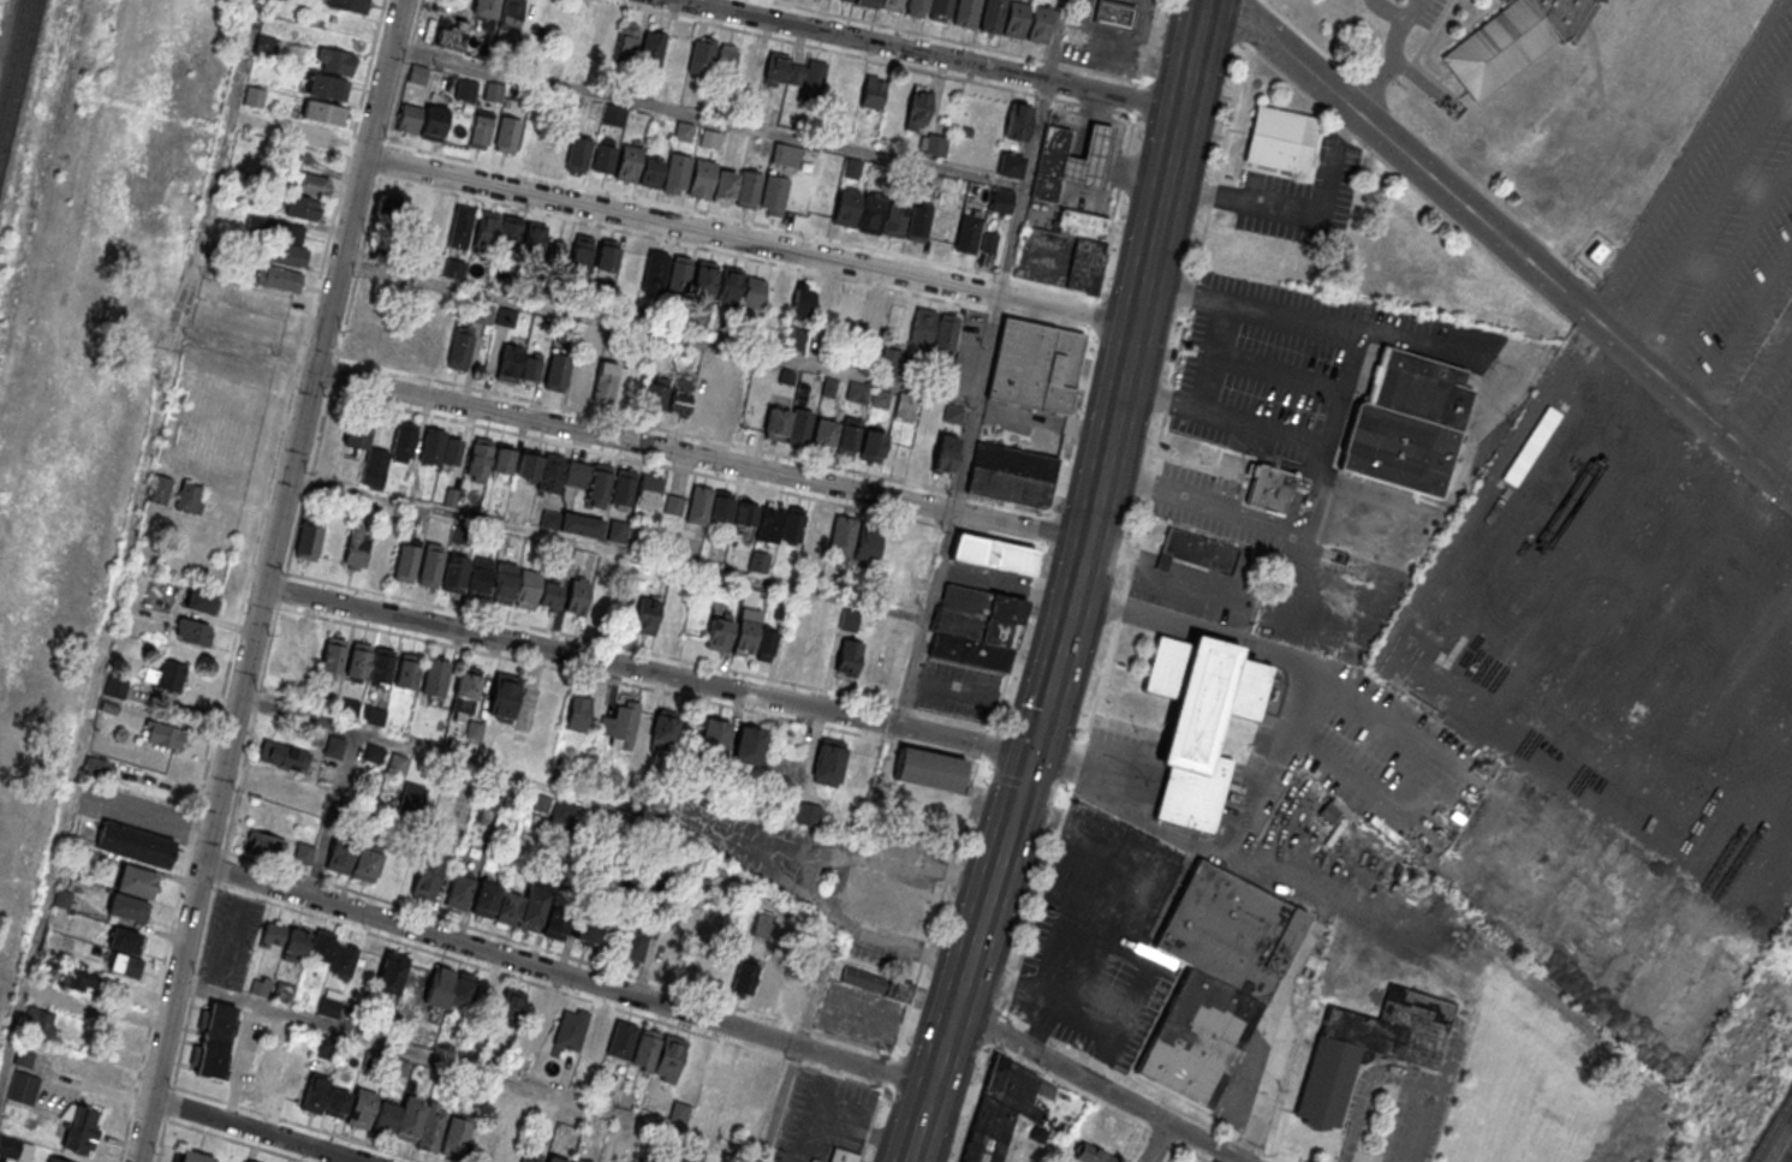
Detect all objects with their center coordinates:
building: (867, 2)
building: (349, 5)
building: (891, 5)
building: (915, 7)
road: (1252, 7)
building: (486, 8)
road: (1387, 8)
building: (940, 10)
building: (965, 13)
building: (511, 14)
building: (992, 16)
building: (1016, 18)
building: (558, 22)
building: (1038, 24)
road: (905, 29)
building: (451, 32)
road: (1055, 40)
building: (1510, 41)
building: (626, 44)
building: (267, 46)
road: (821, 47)
building: (651, 50)
road: (1392, 52)
road: (936, 54)
road: (1192, 55)
building: (702, 56)
parking lot: (1394, 58)
building: (725, 59)
building: (335, 60)
building: (552, 65)
railway: (16, 70)
building: (775, 71)
building: (418, 73)
building: (809, 81)
building: (327, 87)
building: (465, 89)
building: (669, 90)
building: (493, 91)
building: (873, 91)
railway: (22, 94)
building: (254, 96)
building: (837, 100)
building: (917, 108)
building: (323, 112)
building: (614, 114)
building: (409, 119)
road: (708, 119)
building: (1018, 121)
building: (431, 126)
building: (481, 130)
building: (320, 136)
building: (505, 136)
building: (709, 138)
building: (1280, 138)
building: (933, 144)
building: (554, 150)
road: (1692, 154)
building: (577, 155)
building: (605, 155)
building: (786, 155)
building: (1088, 157)
building: (626, 163)
building: (1049, 163)
building: (1010, 165)
building: (649, 174)
building: (675, 174)
building: (699, 179)
railway: (42, 183)
building: (310, 184)
road: (1025, 187)
building: (722, 190)
building: (748, 191)
building: (773, 196)
parking lot: (1298, 197)
building: (1001, 199)
road: (1710, 205)
building: (302, 207)
building: (400, 208)
building: (846, 209)
road: (1300, 209)
building: (436, 216)
building: (870, 216)
building: (894, 219)
building: (918, 225)
building: (460, 226)
building: (486, 232)
building: (968, 233)
building: (508, 237)
building: (534, 240)
parking lot: (1726, 240)
road: (749, 242)
building: (287, 244)
building: (989, 245)
road: (1526, 249)
building: (1062, 251)
building: (558, 252)
building: (581, 254)
building: (607, 255)
building: (1237, 257)
road: (1728, 266)
building: (656, 267)
building: (454, 268)
building: (680, 273)
building: (279, 278)
building: (704, 278)
building: (730, 284)
building: (754, 292)
building: (778, 297)
building: (815, 305)
building: (874, 315)
building: (923, 326)
road: (1746, 327)
building: (946, 332)
building: (359, 335)
road: (656, 336)
building: (386, 341)
building: (459, 350)
building: (510, 363)
building: (1032, 365)
building: (556, 373)
parking lot: (1330, 373)
building: (581, 376)
building: (605, 383)
road: (1763, 383)
road: (1344, 391)
building: (857, 392)
building: (655, 394)
building: (680, 394)
road: (974, 404)
building: (702, 405)
building: (905, 406)
building: (730, 410)
parking lot: (1019, 417)
building: (1405, 422)
building: (778, 423)
building: (799, 427)
road: (1109, 433)
building: (357, 434)
building: (823, 435)
road: (1474, 436)
building: (847, 440)
road: (1780, 441)
building: (873, 446)
building: (440, 447)
building: (945, 453)
building: (389, 454)
road: (698, 457)
building: (489, 458)
building: (565, 473)
building: (1011, 473)
building: (1268, 487)
building: (623, 488)
building: (161, 489)
building: (648, 490)
building: (189, 496)
building: (674, 505)
building: (709, 506)
building: (758, 518)
road: (1238, 518)
parking lot: (1312, 520)
building: (571, 523)
building: (793, 525)
building: (617, 530)
building: (817, 530)
building: (841, 535)
building: (309, 541)
building: (867, 543)
road: (607, 544)
building: (1187, 547)
building: (357, 548)
building: (409, 549)
building: (992, 553)
building: (382, 558)
building: (758, 561)
building: (431, 565)
building: (454, 572)
building: (481, 577)
parking lot: (987, 578)
road: (264, 579)
road: (1005, 580)
building: (504, 583)
building: (528, 589)
building: (549, 595)
building: (577, 595)
parking lot: (1267, 597)
building: (202, 601)
building: (647, 614)
building: (669, 618)
building: (849, 619)
road: (922, 619)
building: (975, 626)
building: (191, 631)
building: (746, 632)
building: (719, 633)
building: (766, 643)
building: (285, 651)
building: (321, 654)
building: (849, 656)
building: (359, 660)
building: (382, 665)
building: (407, 669)
road: (645, 671)
building: (166, 675)
building: (435, 677)
building: (115, 687)
parking lot: (957, 689)
building: (465, 692)
building: (502, 697)
road: (1309, 704)
building: (350, 708)
building: (578, 713)
building: (374, 715)
building: (1199, 720)
building: (620, 725)
building: (663, 729)
building: (163, 735)
building: (713, 737)
building: (749, 745)
building: (334, 746)
traffic signals: (1030, 755)
building: (284, 756)
road: (351, 757)
building: (829, 761)
building: (100, 768)
building: (929, 769)
road: (1121, 774)
road: (1072, 777)
building: (272, 782)
road: (1447, 793)
building: (411, 798)
building: (1330, 810)
building: (562, 812)
building: (947, 822)
building: (135, 844)
building: (266, 844)
building: (304, 853)
building: (339, 856)
building: (367, 863)
building: (427, 876)
building: (459, 890)
building: (132, 892)
building: (486, 899)
building: (524, 906)
building: (762, 923)
building: (556, 926)
building: (590, 931)
building: (273, 934)
parking lot: (1103, 937)
building: (309, 942)
building: (631, 946)
building: (125, 952)
road: (969, 958)
building: (344, 960)
building: (667, 960)
building: (696, 966)
building: (722, 969)
building: (391, 973)
road: (566, 976)
building: (745, 976)
building: (1216, 976)
building: (78, 978)
building: (876, 982)
building: (768, 985)
building: (451, 988)
building: (793, 991)
building: (40, 994)
building: (488, 995)
building: (512, 1002)
building: (329, 1006)
parking lot: (858, 1014)
building: (582, 1033)
building: (621, 1039)
building: (214, 1041)
building: (326, 1047)
building: (1371, 1047)
building: (659, 1053)
building: (716, 1071)
road: (471, 1072)
road: (1397, 1073)
building: (740, 1079)
building: (264, 1080)
road: (1270, 1081)
road: (1097, 1085)
building: (23, 1089)
building: (338, 1102)
road: (781, 1102)
parking lot: (1406, 1103)
road: (1101, 1106)
building: (1002, 1108)
parking lot: (822, 1118)
building: (412, 1122)
road: (300, 1124)
building: (81, 1128)
road: (256, 1130)
railway: (1772, 1130)
building: (457, 1134)
road: (237, 1139)
road: (1157, 1142)
railway: (1781, 1144)
building: (507, 1154)
building: (1091, 1154)
railway: (1787, 1155)
building: (194, 1156)
building: (531, 1156)
building: (843, 1156)
building: (556, 1158)
building: (55, 1160)
building: (581, 1160)

